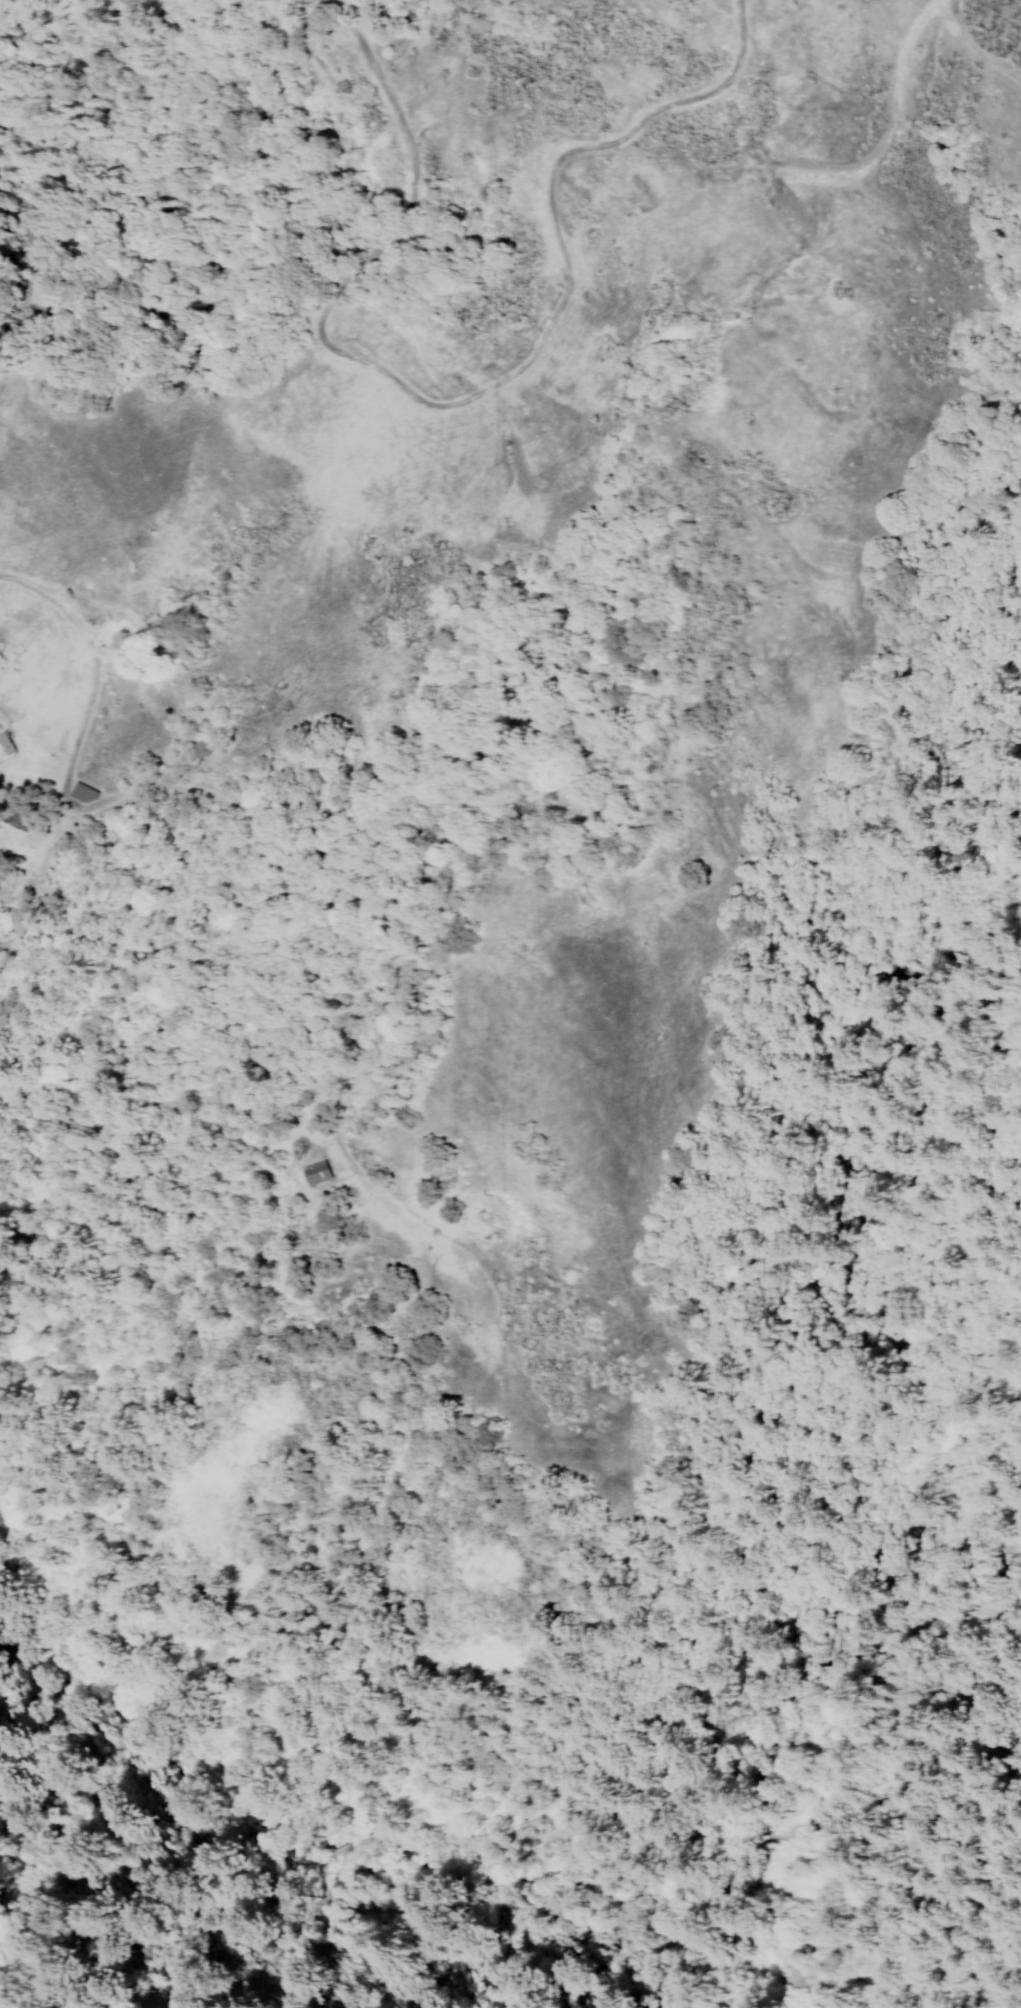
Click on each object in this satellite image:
road: (971, 49)
road: (361, 255)
road: (84, 660)
building: (3, 738)
building: (79, 791)
building: (313, 1168)

